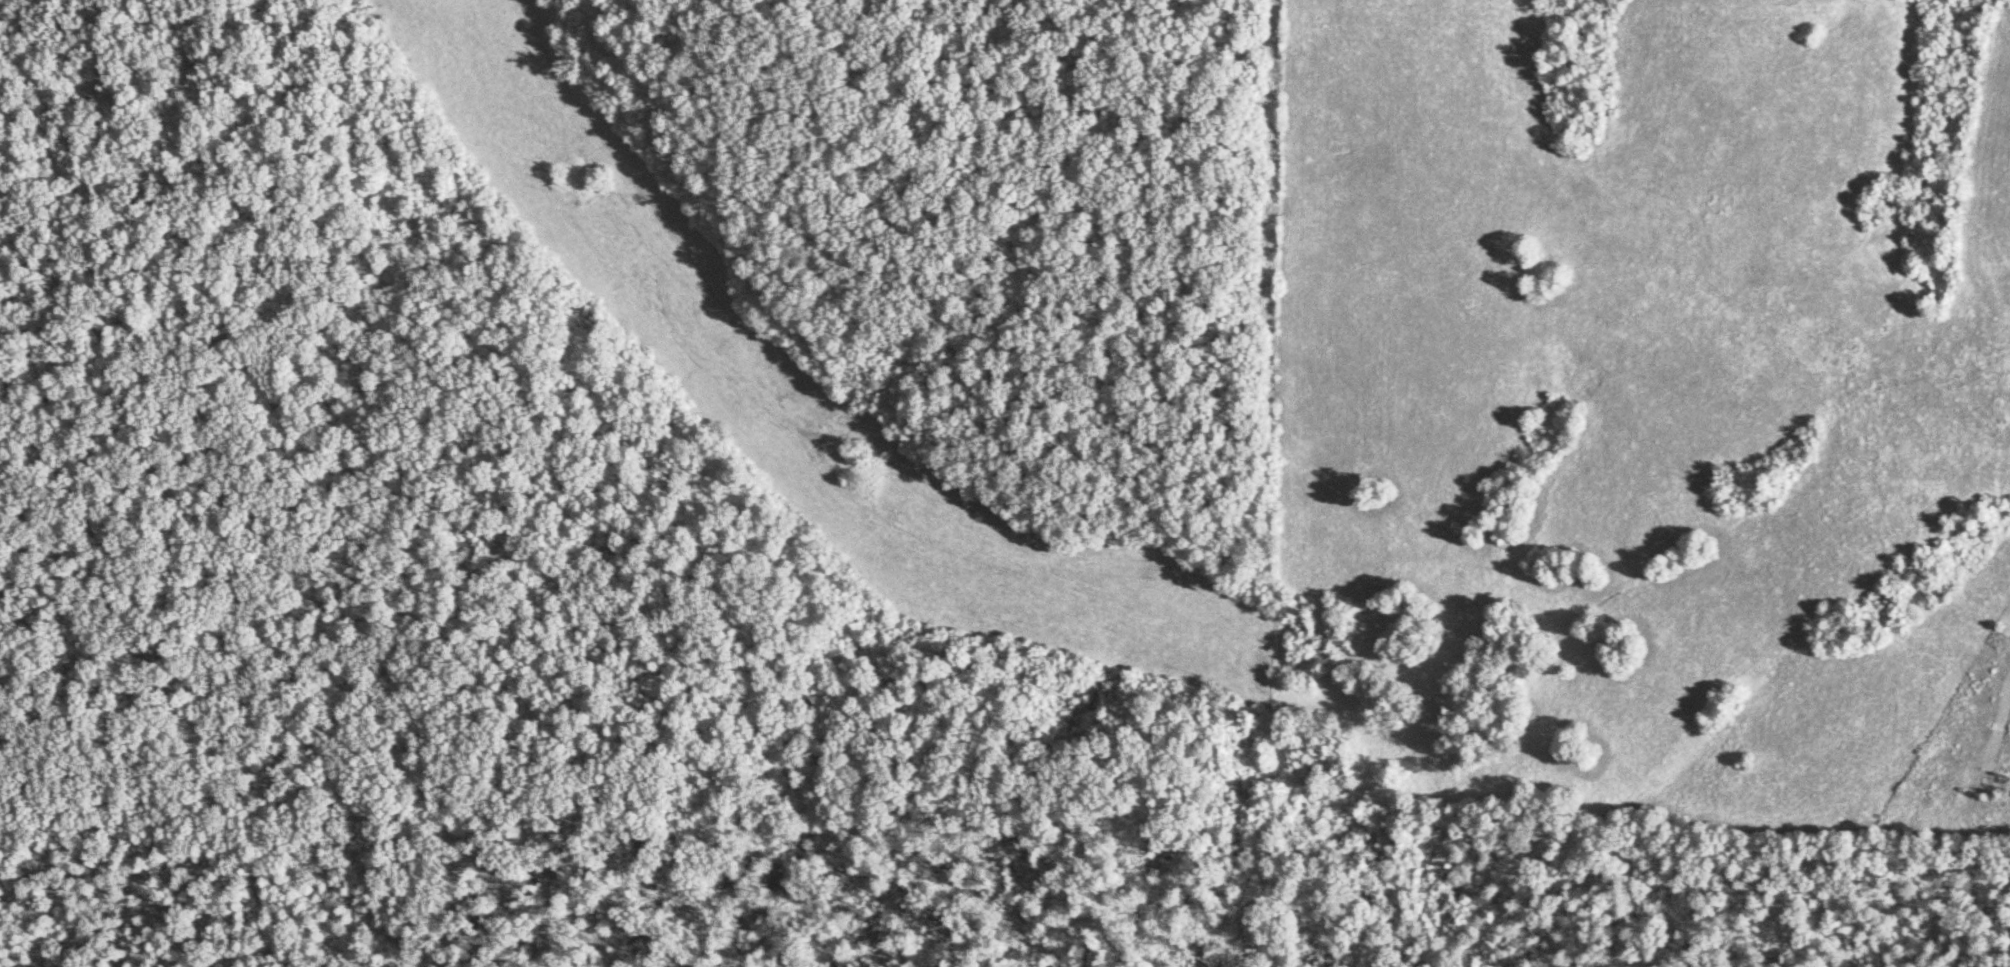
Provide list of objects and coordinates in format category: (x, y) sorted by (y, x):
building: (1994, 784)

